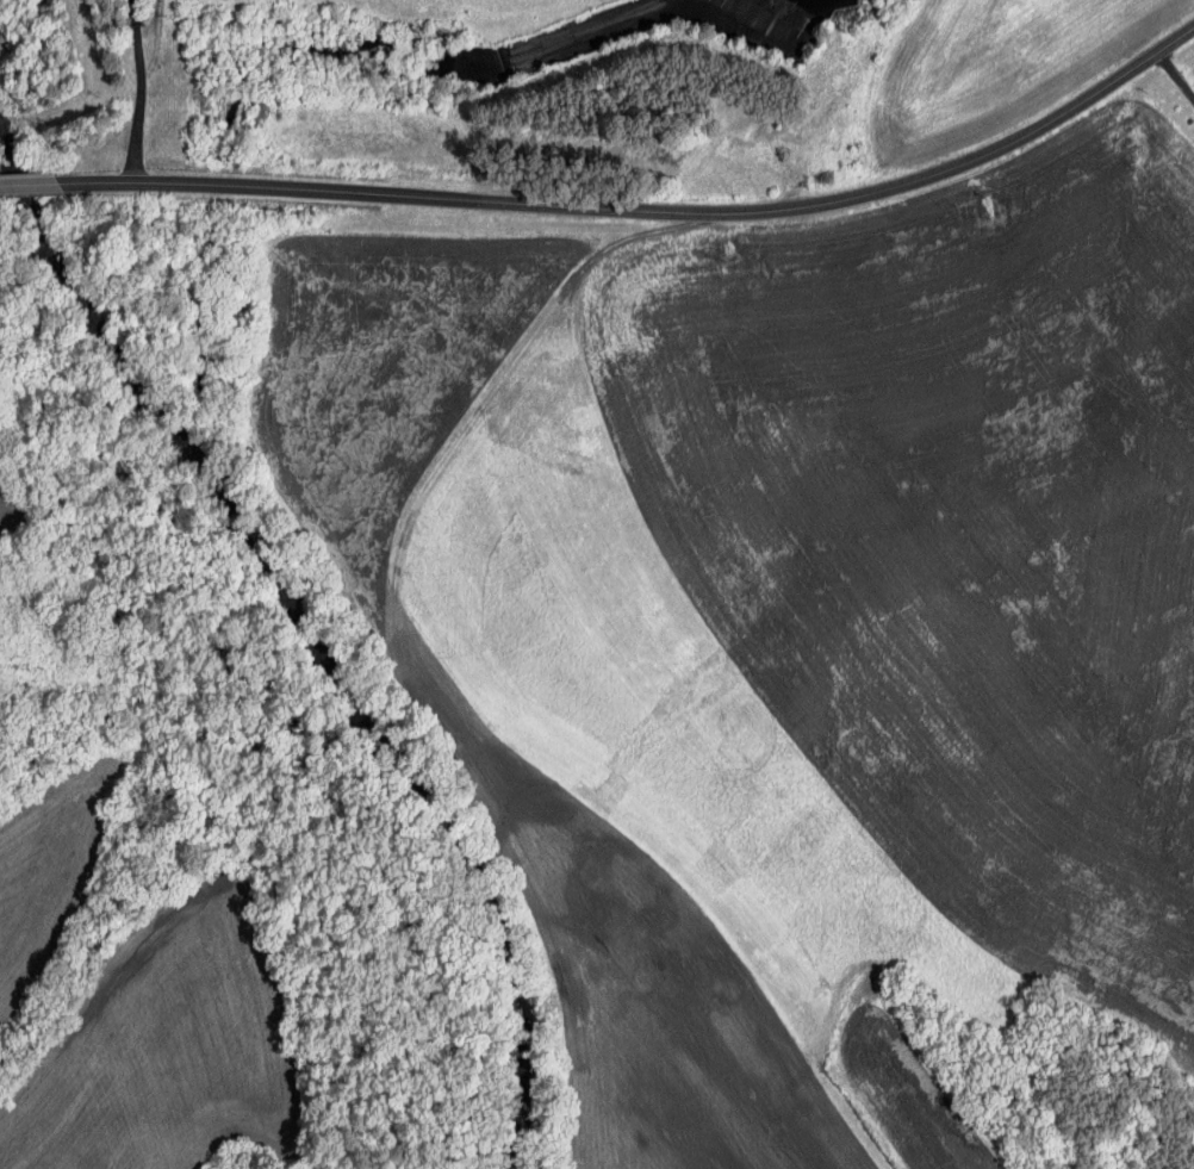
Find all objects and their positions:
road: (1177, 71)
road: (126, 91)
road: (30, 184)
road: (648, 209)

